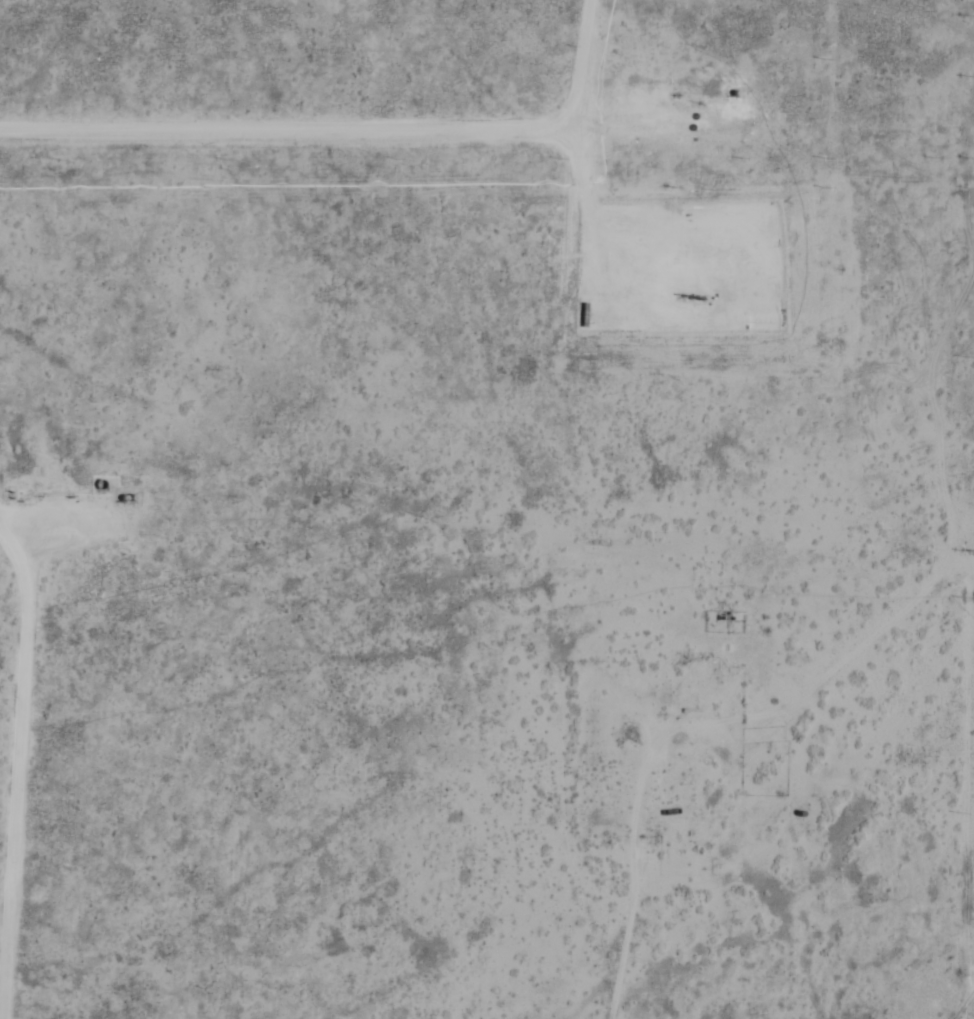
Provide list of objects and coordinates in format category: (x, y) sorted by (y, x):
road: (845, 636)
road: (945, 789)
road: (599, 934)
road: (946, 989)

